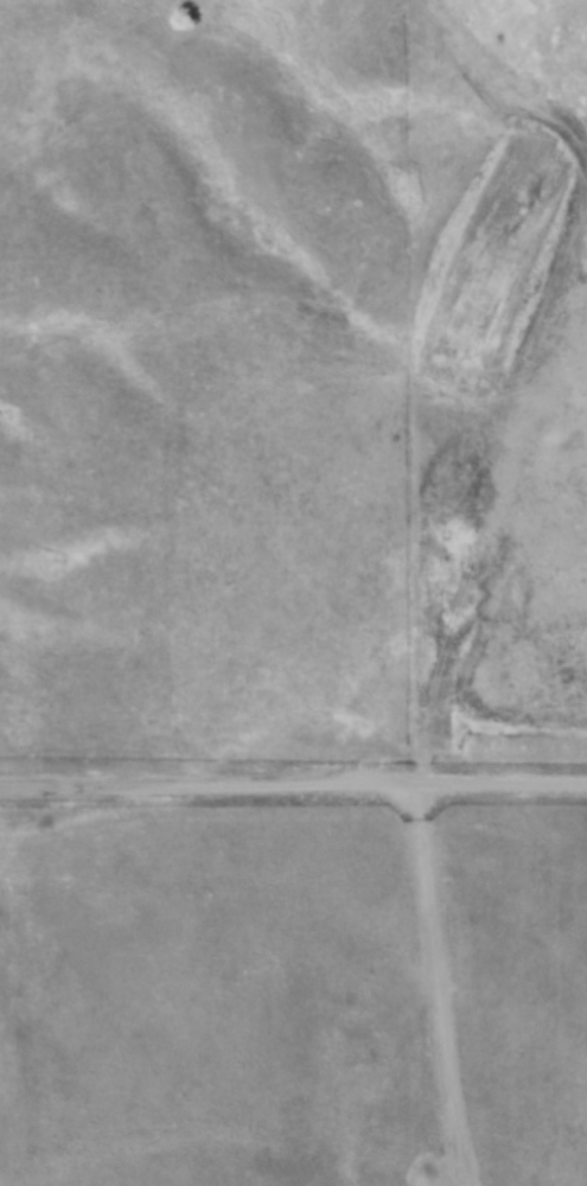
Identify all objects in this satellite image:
road: (293, 782)

